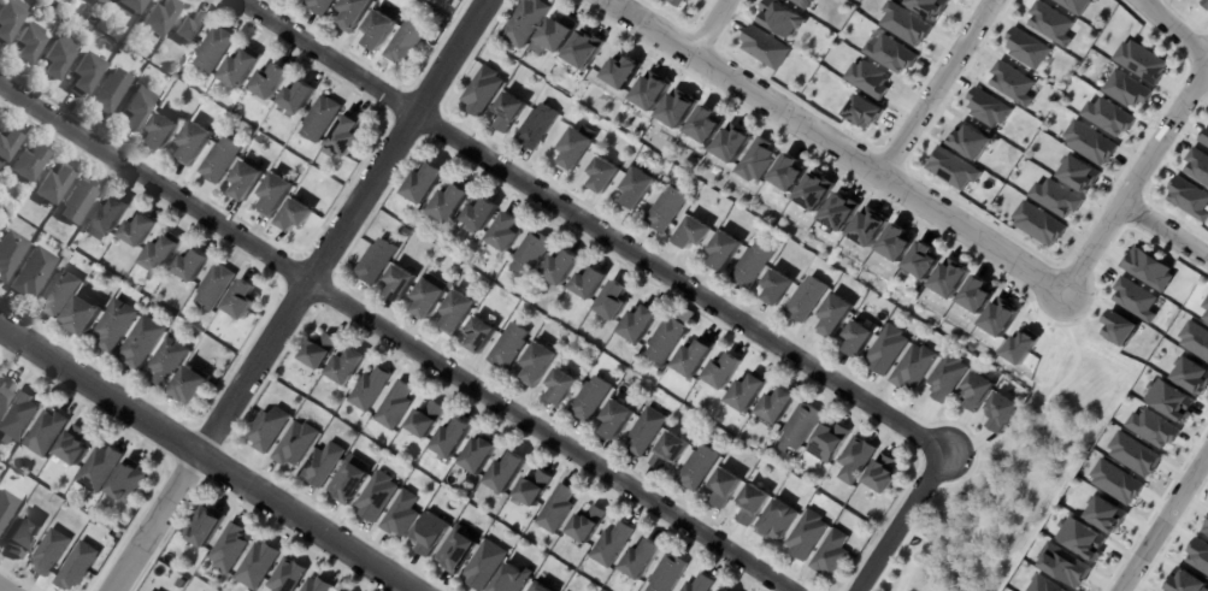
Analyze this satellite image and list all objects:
building: (449, 0)
building: (452, 0)
building: (1206, 1)
building: (99, 2)
building: (678, 2)
building: (801, 2)
building: (1073, 5)
building: (129, 7)
building: (320, 7)
building: (929, 7)
building: (354, 14)
building: (780, 18)
building: (159, 19)
building: (10, 20)
building: (528, 24)
building: (904, 24)
building: (1050, 24)
road: (705, 25)
building: (86, 26)
building: (190, 30)
building: (379, 32)
building: (47, 36)
building: (560, 36)
building: (30, 45)
building: (406, 45)
building: (762, 48)
building: (1026, 48)
building: (585, 49)
building: (214, 52)
building: (890, 54)
building: (58, 59)
building: (1141, 63)
building: (241, 71)
building: (623, 71)
building: (175, 75)
building: (86, 77)
building: (868, 79)
building: (1012, 83)
building: (271, 84)
road: (936, 87)
building: (1126, 90)
building: (652, 91)
building: (483, 93)
building: (111, 94)
building: (299, 100)
building: (988, 108)
building: (677, 111)
building: (862, 112)
building: (509, 113)
building: (139, 114)
building: (1107, 117)
building: (322, 122)
building: (706, 125)
building: (536, 128)
building: (164, 132)
road: (1157, 137)
building: (344, 138)
building: (1204, 138)
building: (970, 141)
building: (1089, 143)
building: (732, 144)
building: (194, 146)
road: (835, 146)
building: (7, 147)
building: (574, 153)
building: (758, 160)
building: (219, 161)
building: (29, 165)
building: (1197, 167)
building: (953, 169)
building: (790, 172)
building: (1079, 175)
building: (603, 177)
road: (153, 183)
building: (246, 183)
building: (425, 183)
building: (53, 187)
building: (635, 191)
building: (814, 193)
building: (275, 196)
building: (1056, 197)
building: (1188, 199)
building: (452, 202)
building: (79, 203)
building: (665, 211)
building: (841, 212)
building: (482, 214)
building: (110, 217)
building: (295, 218)
building: (1038, 225)
road: (589, 227)
road: (1165, 227)
building: (868, 229)
building: (506, 232)
building: (137, 234)
building: (693, 235)
building: (897, 242)
building: (532, 253)
building: (723, 253)
building: (11, 255)
building: (160, 256)
building: (924, 259)
building: (376, 261)
building: (752, 266)
building: (191, 267)
building: (562, 267)
building: (1147, 270)
building: (34, 274)
building: (950, 279)
building: (400, 283)
building: (590, 283)
building: (214, 290)
building: (777, 290)
building: (60, 294)
building: (978, 294)
road: (297, 295)
building: (531, 297)
building: (429, 299)
building: (1133, 299)
building: (614, 301)
building: (805, 301)
building: (241, 303)
building: (1204, 309)
building: (458, 312)
building: (83, 318)
building: (835, 318)
building: (1002, 318)
building: (641, 324)
building: (114, 327)
building: (1120, 329)
building: (481, 335)
building: (667, 339)
building: (1195, 339)
building: (858, 341)
building: (142, 344)
building: (509, 347)
building: (1021, 347)
building: (320, 351)
building: (886, 351)
building: (696, 357)
building: (167, 364)
building: (538, 365)
building: (347, 367)
building: (660, 367)
building: (914, 368)
building: (724, 371)
building: (1191, 376)
building: (945, 378)
building: (190, 385)
building: (562, 388)
building: (370, 389)
building: (5, 390)
building: (749, 392)
building: (976, 392)
building: (591, 400)
building: (1168, 400)
building: (395, 406)
building: (778, 406)
building: (1000, 414)
building: (18, 418)
building: (618, 419)
building: (426, 420)
building: (802, 426)
building: (1151, 429)
building: (269, 430)
building: (647, 431)
building: (47, 432)
road: (547, 437)
building: (453, 438)
building: (830, 442)
building: (296, 444)
building: (73, 447)
building: (671, 451)
building: (481, 454)
building: (1133, 454)
road: (204, 460)
building: (856, 460)
building: (323, 465)
building: (99, 468)
building: (700, 468)
building: (507, 473)
building: (884, 475)
building: (1112, 480)
building: (128, 481)
building: (348, 483)
building: (726, 487)
building: (535, 489)
building: (377, 496)
building: (754, 504)
building: (5, 508)
building: (558, 509)
building: (401, 513)
building: (1104, 514)
building: (778, 521)
road: (900, 522)
road: (1165, 524)
building: (588, 525)
building: (204, 526)
building: (1204, 530)
building: (430, 532)
building: (119, 536)
building: (807, 536)
building: (20, 538)
building: (1079, 538)
building: (612, 545)
building: (229, 549)
building: (455, 549)
building: (49, 552)
building: (832, 554)
building: (1197, 557)
building: (642, 560)
building: (1061, 563)
building: (257, 566)
building: (485, 566)
building: (77, 567)
building: (670, 574)
building: (287, 577)
building: (512, 578)
building: (1183, 581)
building: (1033, 583)
building: (701, 584)
building: (318, 585)
road: (4, 587)
building: (538, 587)
building: (721, 590)

